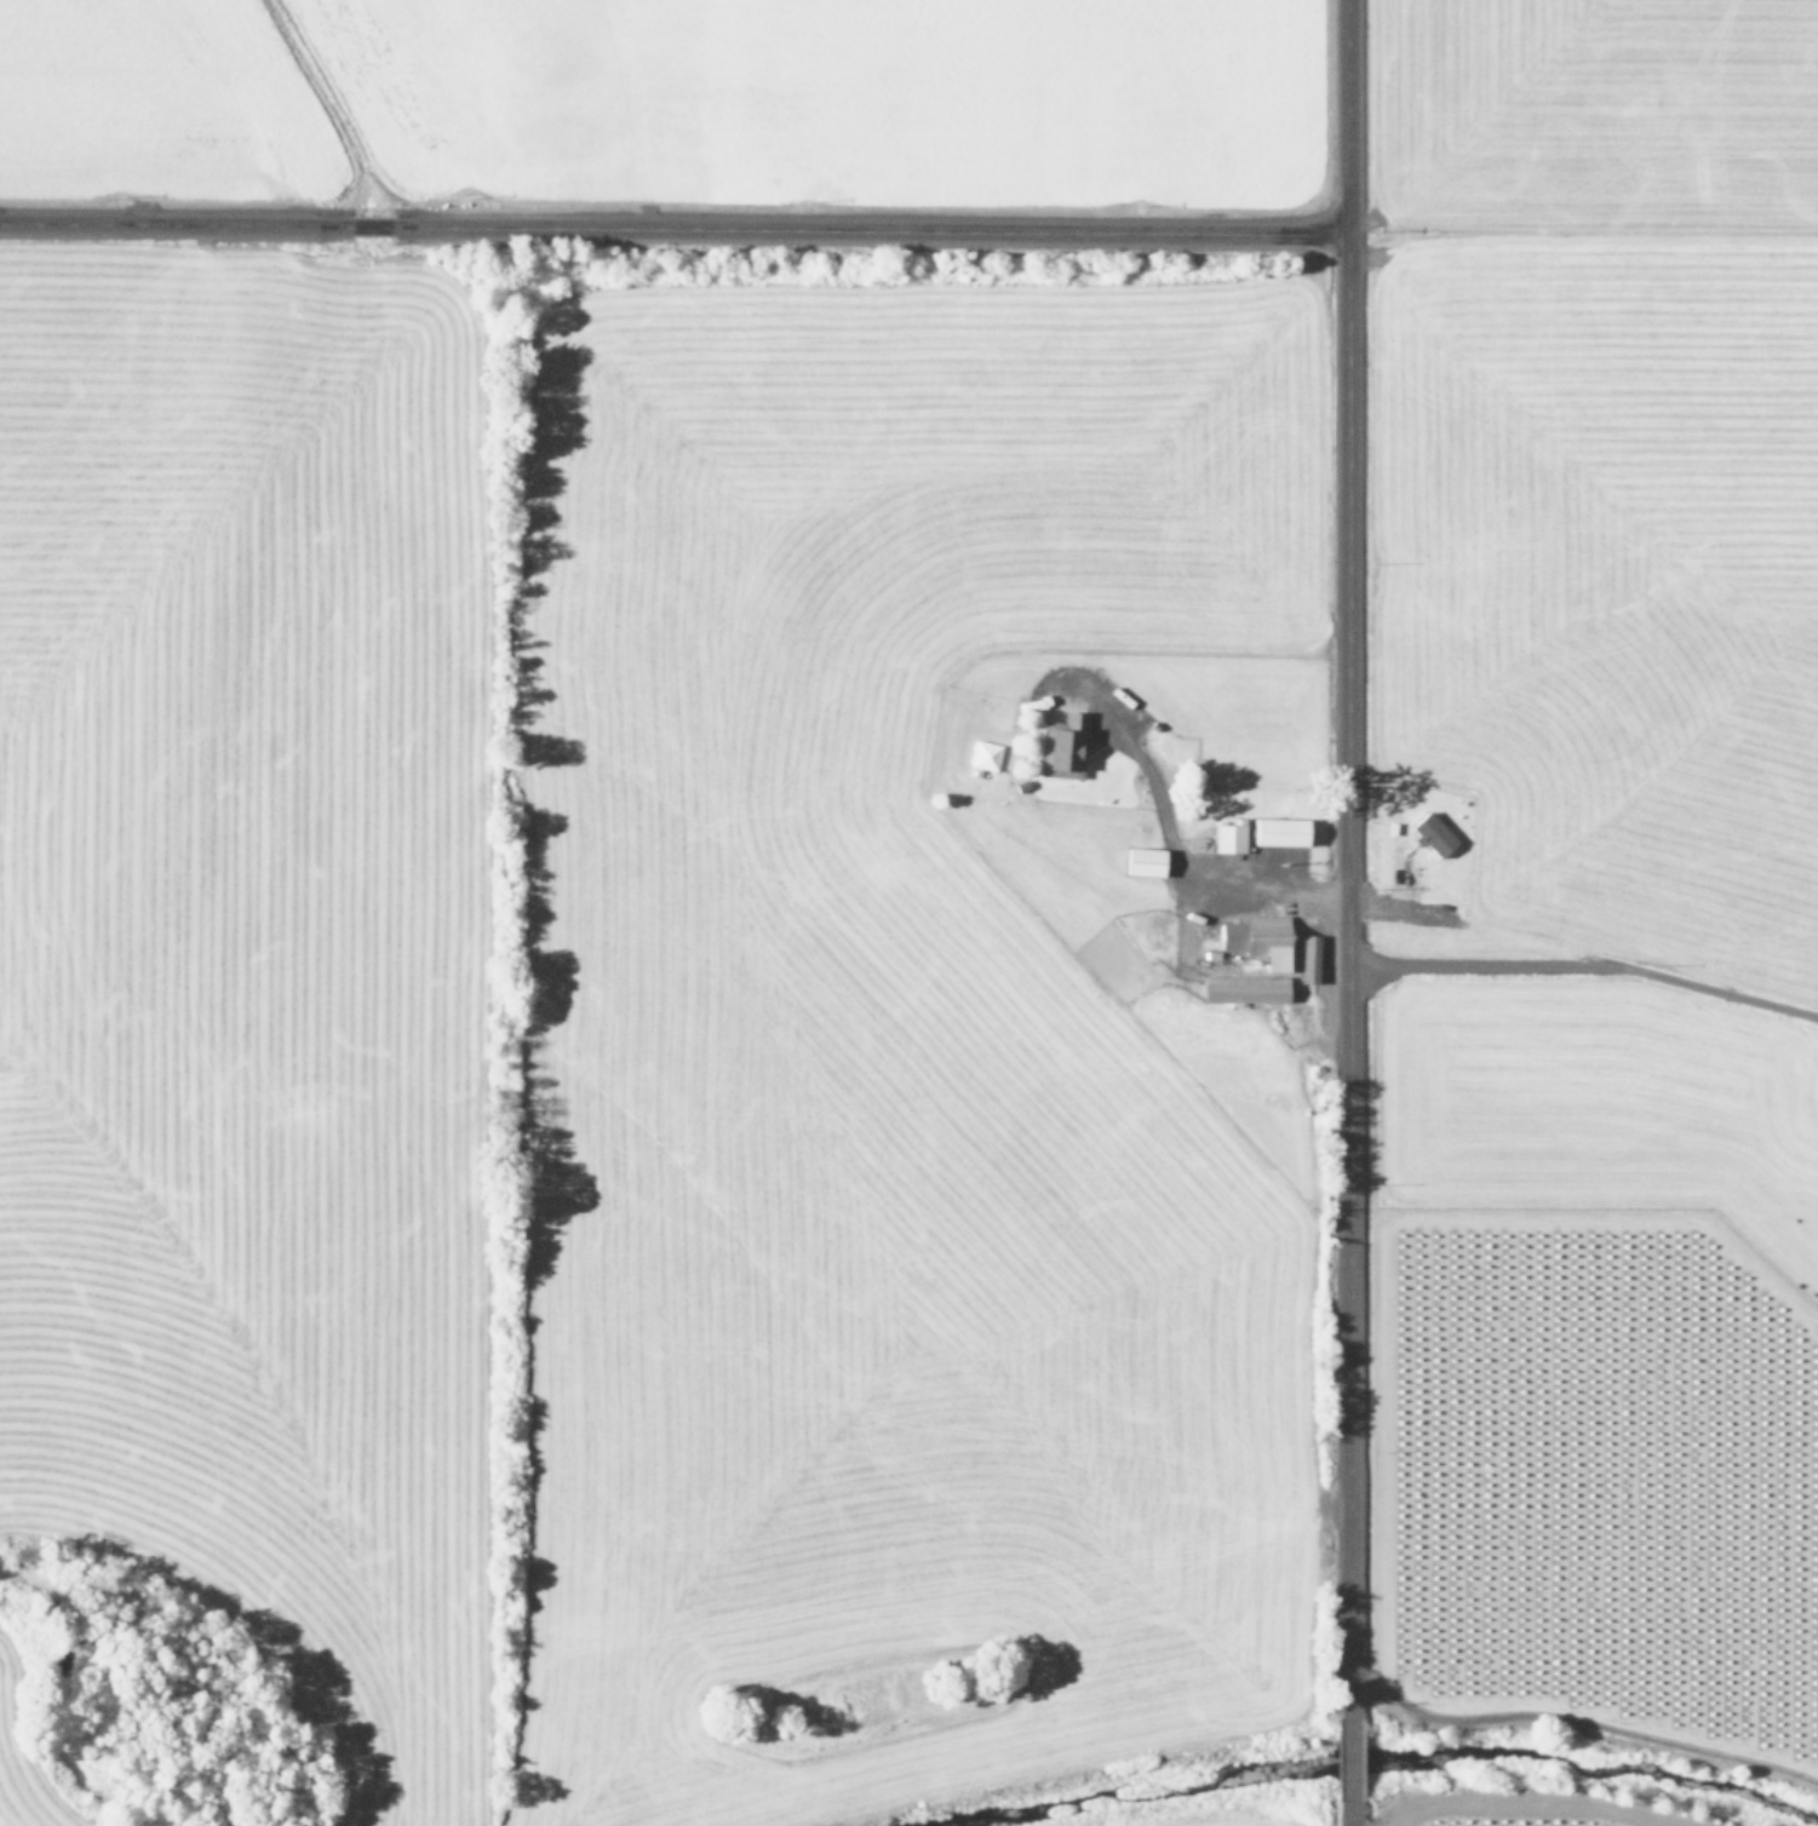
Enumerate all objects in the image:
crop: (665, 96)
road: (672, 230)
crop: (1612, 506)
building: (1062, 746)
building: (1275, 831)
building: (1430, 834)
building: (1229, 838)
road: (1170, 839)
road: (1347, 857)
building: (1146, 861)
building: (1260, 937)
building: (1309, 958)
road: (1583, 965)
building: (1245, 988)
road: (1349, 1757)
road: (1349, 1813)

